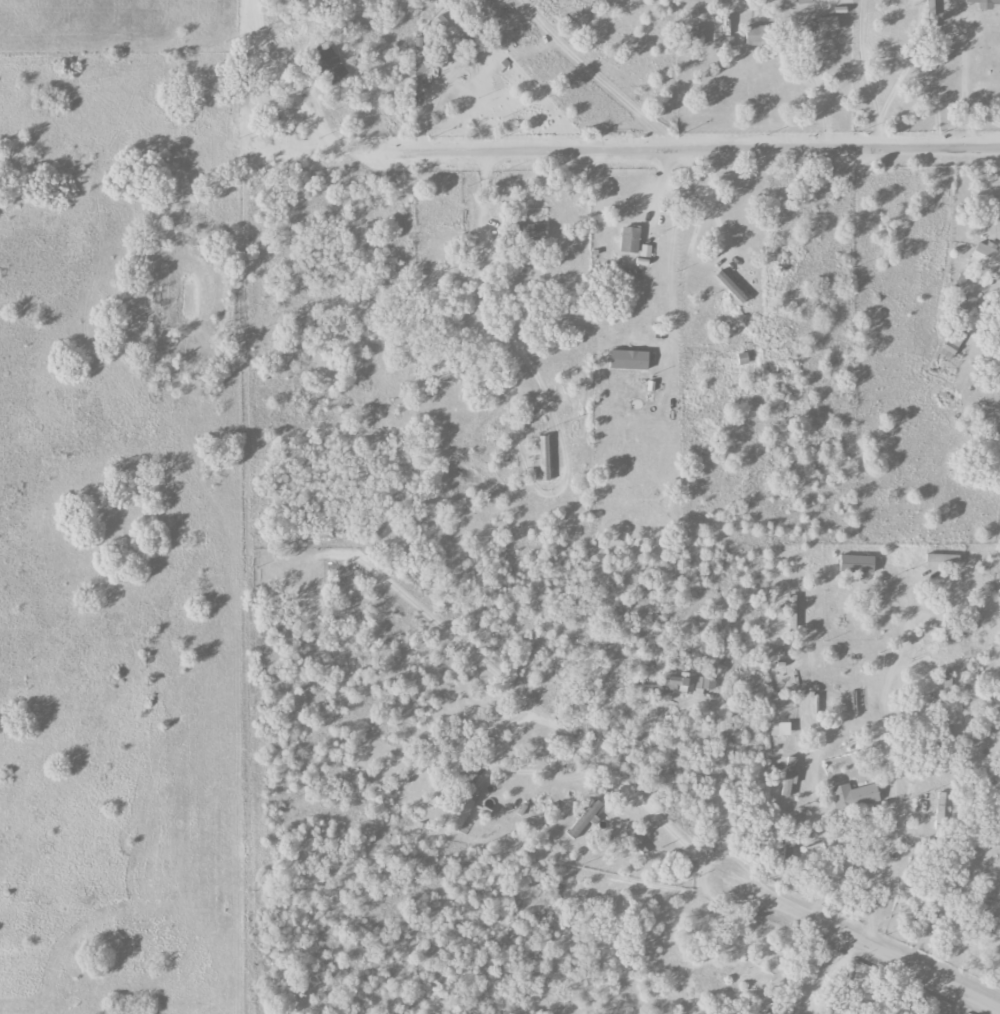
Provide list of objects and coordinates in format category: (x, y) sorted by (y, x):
building: (804, 1)
building: (984, 3)
building: (440, 22)
building: (827, 24)
building: (696, 35)
building: (755, 35)
road: (861, 58)
road: (905, 60)
building: (328, 63)
road: (601, 74)
road: (820, 92)
road: (963, 93)
road: (301, 103)
road: (883, 133)
road: (703, 149)
road: (672, 234)
building: (629, 240)
road: (687, 245)
building: (986, 257)
road: (491, 258)
building: (962, 279)
building: (731, 287)
building: (967, 303)
building: (952, 345)
building: (629, 360)
building: (544, 458)
building: (942, 561)
building: (856, 564)
road: (436, 623)
building: (679, 686)
building: (780, 729)
road: (562, 730)
road: (889, 756)
building: (789, 776)
road: (718, 791)
building: (853, 797)
building: (938, 808)
building: (458, 812)
building: (584, 819)
building: (997, 931)
road: (861, 945)
road: (957, 1003)

